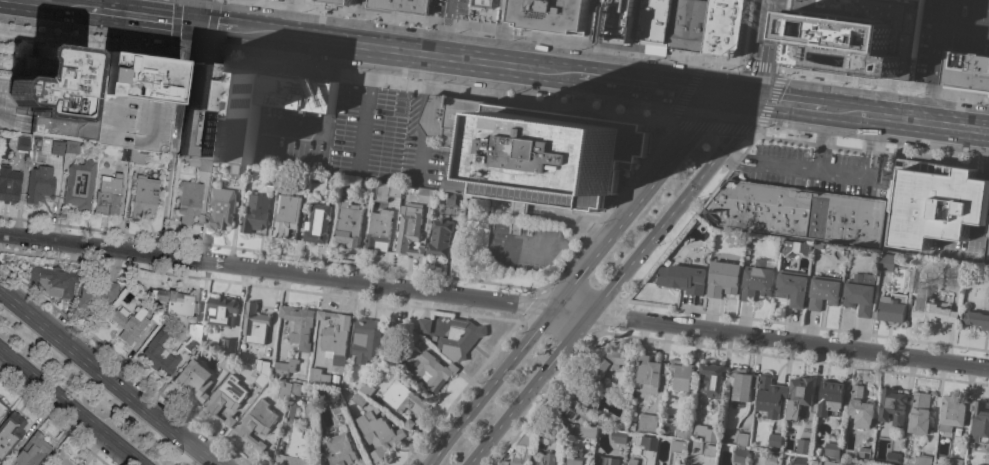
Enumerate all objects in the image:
building: (342, 1)
building: (483, 5)
road: (147, 6)
building: (399, 6)
road: (194, 11)
road: (42, 12)
road: (366, 14)
building: (551, 15)
road: (500, 16)
road: (285, 17)
building: (621, 21)
road: (115, 22)
traffic signals: (192, 22)
road: (357, 22)
road: (596, 22)
building: (654, 22)
road: (211, 24)
building: (691, 25)
building: (725, 27)
road: (211, 28)
road: (446, 28)
road: (167, 29)
road: (259, 31)
road: (172, 37)
road: (544, 39)
building: (835, 39)
road: (85, 40)
road: (939, 45)
road: (496, 49)
road: (760, 50)
road: (664, 54)
road: (429, 56)
road: (588, 61)
road: (333, 62)
building: (968, 70)
building: (138, 77)
road: (182, 79)
building: (52, 83)
road: (660, 87)
building: (300, 94)
road: (329, 97)
traffic signals: (744, 98)
road: (781, 102)
road: (536, 104)
building: (88, 105)
road: (5, 107)
road: (365, 112)
building: (221, 113)
road: (903, 119)
road: (417, 120)
building: (133, 123)
parking lot: (133, 123)
road: (734, 128)
road: (302, 130)
parking lot: (367, 133)
building: (457, 136)
parking lot: (292, 139)
road: (818, 142)
building: (23, 143)
building: (73, 147)
building: (58, 148)
building: (128, 154)
building: (556, 155)
building: (139, 157)
building: (201, 163)
road: (987, 163)
building: (237, 169)
road: (821, 177)
building: (271, 178)
building: (332, 182)
building: (9, 183)
building: (80, 184)
building: (40, 185)
building: (387, 192)
road: (639, 193)
building: (109, 194)
building: (145, 196)
road: (167, 196)
building: (425, 196)
building: (453, 199)
building: (190, 200)
road: (981, 201)
building: (936, 202)
road: (672, 209)
building: (221, 211)
building: (798, 212)
building: (256, 214)
building: (286, 215)
road: (691, 216)
building: (317, 224)
building: (348, 224)
building: (409, 230)
building: (378, 231)
road: (976, 231)
building: (988, 233)
building: (440, 238)
road: (555, 244)
building: (818, 245)
building: (796, 247)
building: (887, 262)
building: (953, 269)
road: (275, 270)
building: (683, 275)
building: (723, 279)
building: (54, 281)
building: (757, 281)
building: (792, 287)
building: (824, 292)
building: (860, 293)
building: (97, 295)
building: (176, 300)
road: (529, 305)
building: (892, 308)
building: (931, 310)
building: (221, 311)
road: (570, 311)
building: (158, 317)
road: (609, 317)
building: (976, 319)
building: (254, 321)
building: (130, 323)
building: (299, 325)
building: (425, 326)
building: (397, 328)
building: (197, 331)
building: (988, 331)
building: (335, 336)
building: (461, 338)
building: (368, 340)
building: (409, 340)
road: (788, 340)
building: (192, 344)
building: (229, 347)
building: (153, 351)
road: (124, 364)
building: (226, 364)
building: (262, 366)
building: (285, 367)
building: (432, 371)
building: (598, 372)
building: (649, 374)
building: (682, 374)
building: (318, 375)
road: (107, 377)
building: (714, 378)
building: (194, 379)
building: (261, 380)
building: (743, 384)
road: (488, 386)
building: (297, 389)
building: (367, 389)
road: (528, 389)
building: (284, 390)
road: (459, 393)
building: (227, 395)
building: (800, 395)
building: (771, 396)
building: (359, 399)
road: (544, 399)
building: (831, 399)
building: (404, 400)
building: (860, 404)
building: (337, 406)
building: (894, 406)
building: (3, 407)
road: (68, 408)
building: (310, 410)
building: (575, 413)
building: (954, 413)
building: (920, 414)
building: (0, 417)
road: (53, 421)
building: (229, 421)
building: (647, 422)
building: (257, 423)
building: (980, 423)
building: (675, 429)
building: (587, 431)
building: (706, 432)
building: (10, 433)
building: (378, 435)
building: (554, 436)
building: (619, 437)
building: (634, 439)
building: (742, 439)
building: (775, 440)
building: (649, 443)
building: (679, 446)
building: (804, 446)
building: (295, 450)
building: (339, 450)
building: (523, 450)
building: (832, 450)
building: (32, 451)
building: (709, 451)
building: (863, 451)
building: (741, 454)
building: (893, 458)
building: (61, 459)
building: (545, 459)
building: (770, 459)
building: (924, 459)
building: (575, 460)
building: (607, 461)
building: (632, 461)
building: (799, 461)
building: (910, 461)
building: (954, 461)
building: (362, 462)
building: (662, 462)
building: (830, 462)
building: (79, 464)
road: (426, 464)
building: (593, 464)
building: (980, 464)

